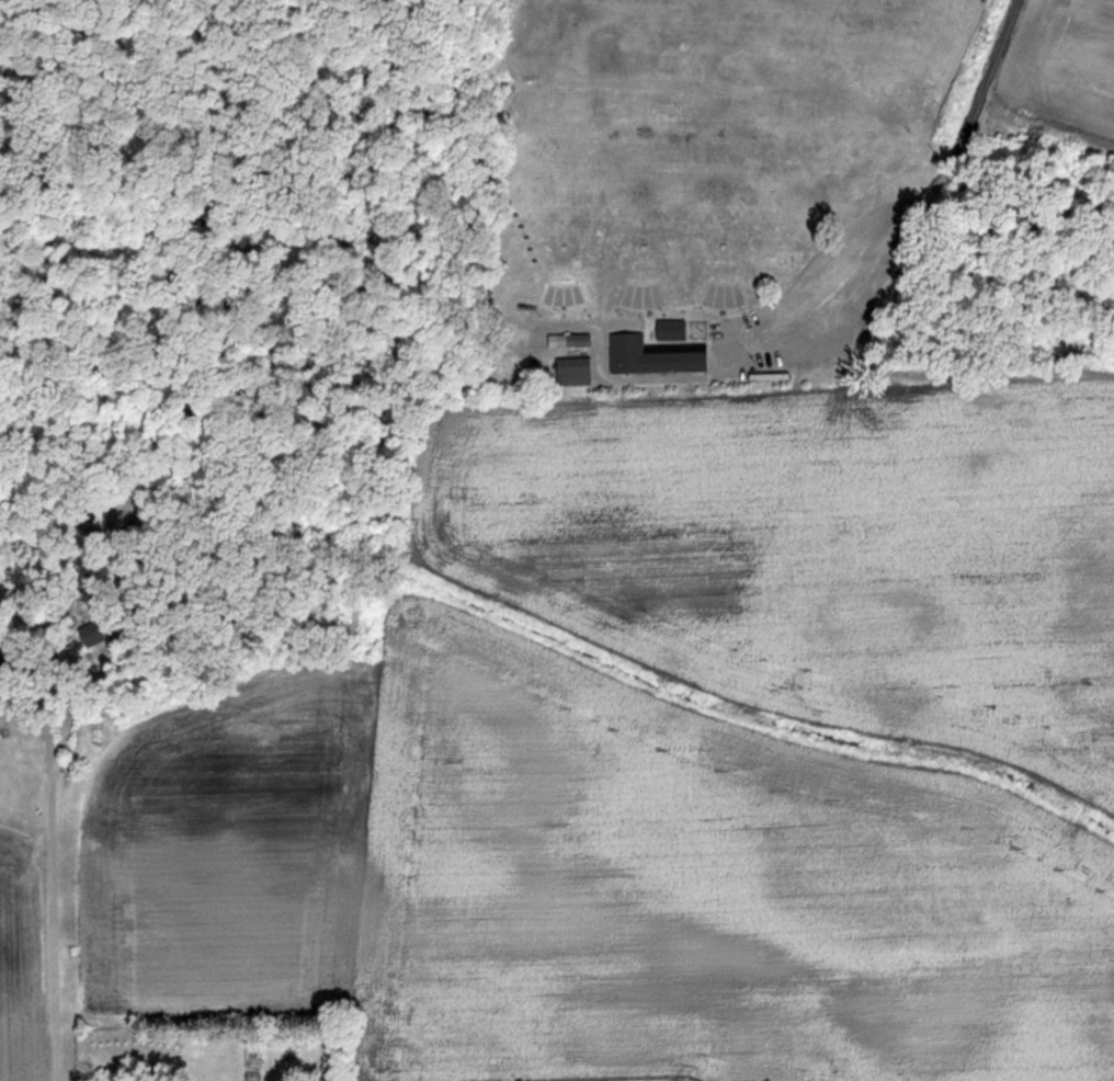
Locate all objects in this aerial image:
road: (924, 206)
building: (650, 356)
building: (570, 373)
building: (95, 512)
road: (58, 661)
road: (53, 924)

